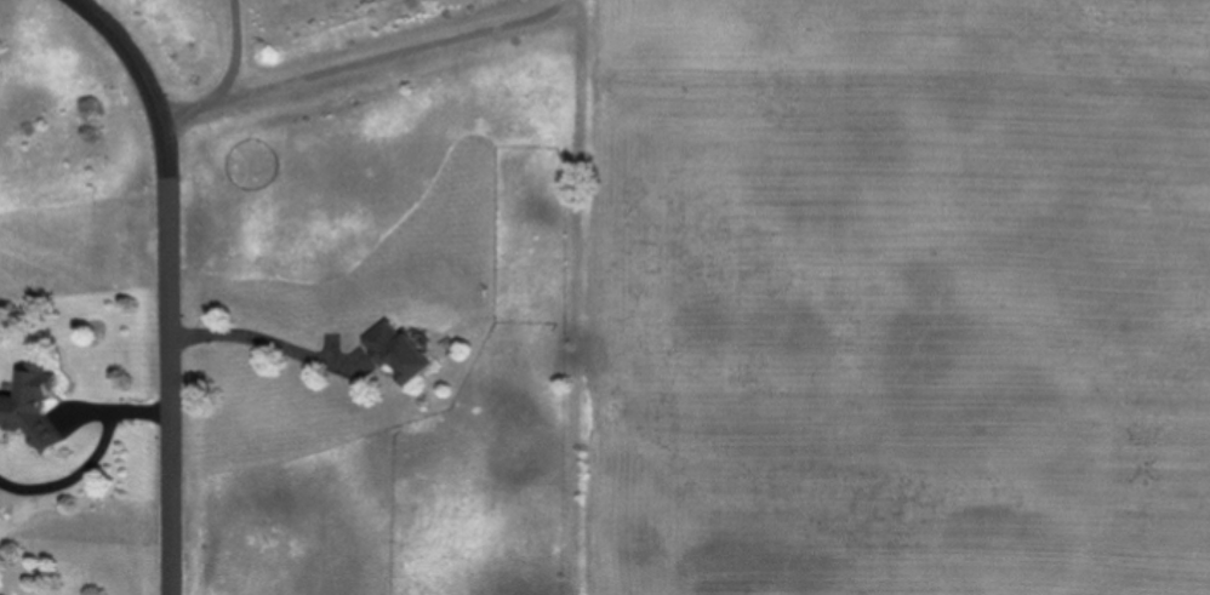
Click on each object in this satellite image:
road: (354, 67)
road: (196, 113)
road: (170, 280)
road: (269, 343)
building: (400, 350)
building: (33, 405)
road: (91, 450)
road: (96, 527)

